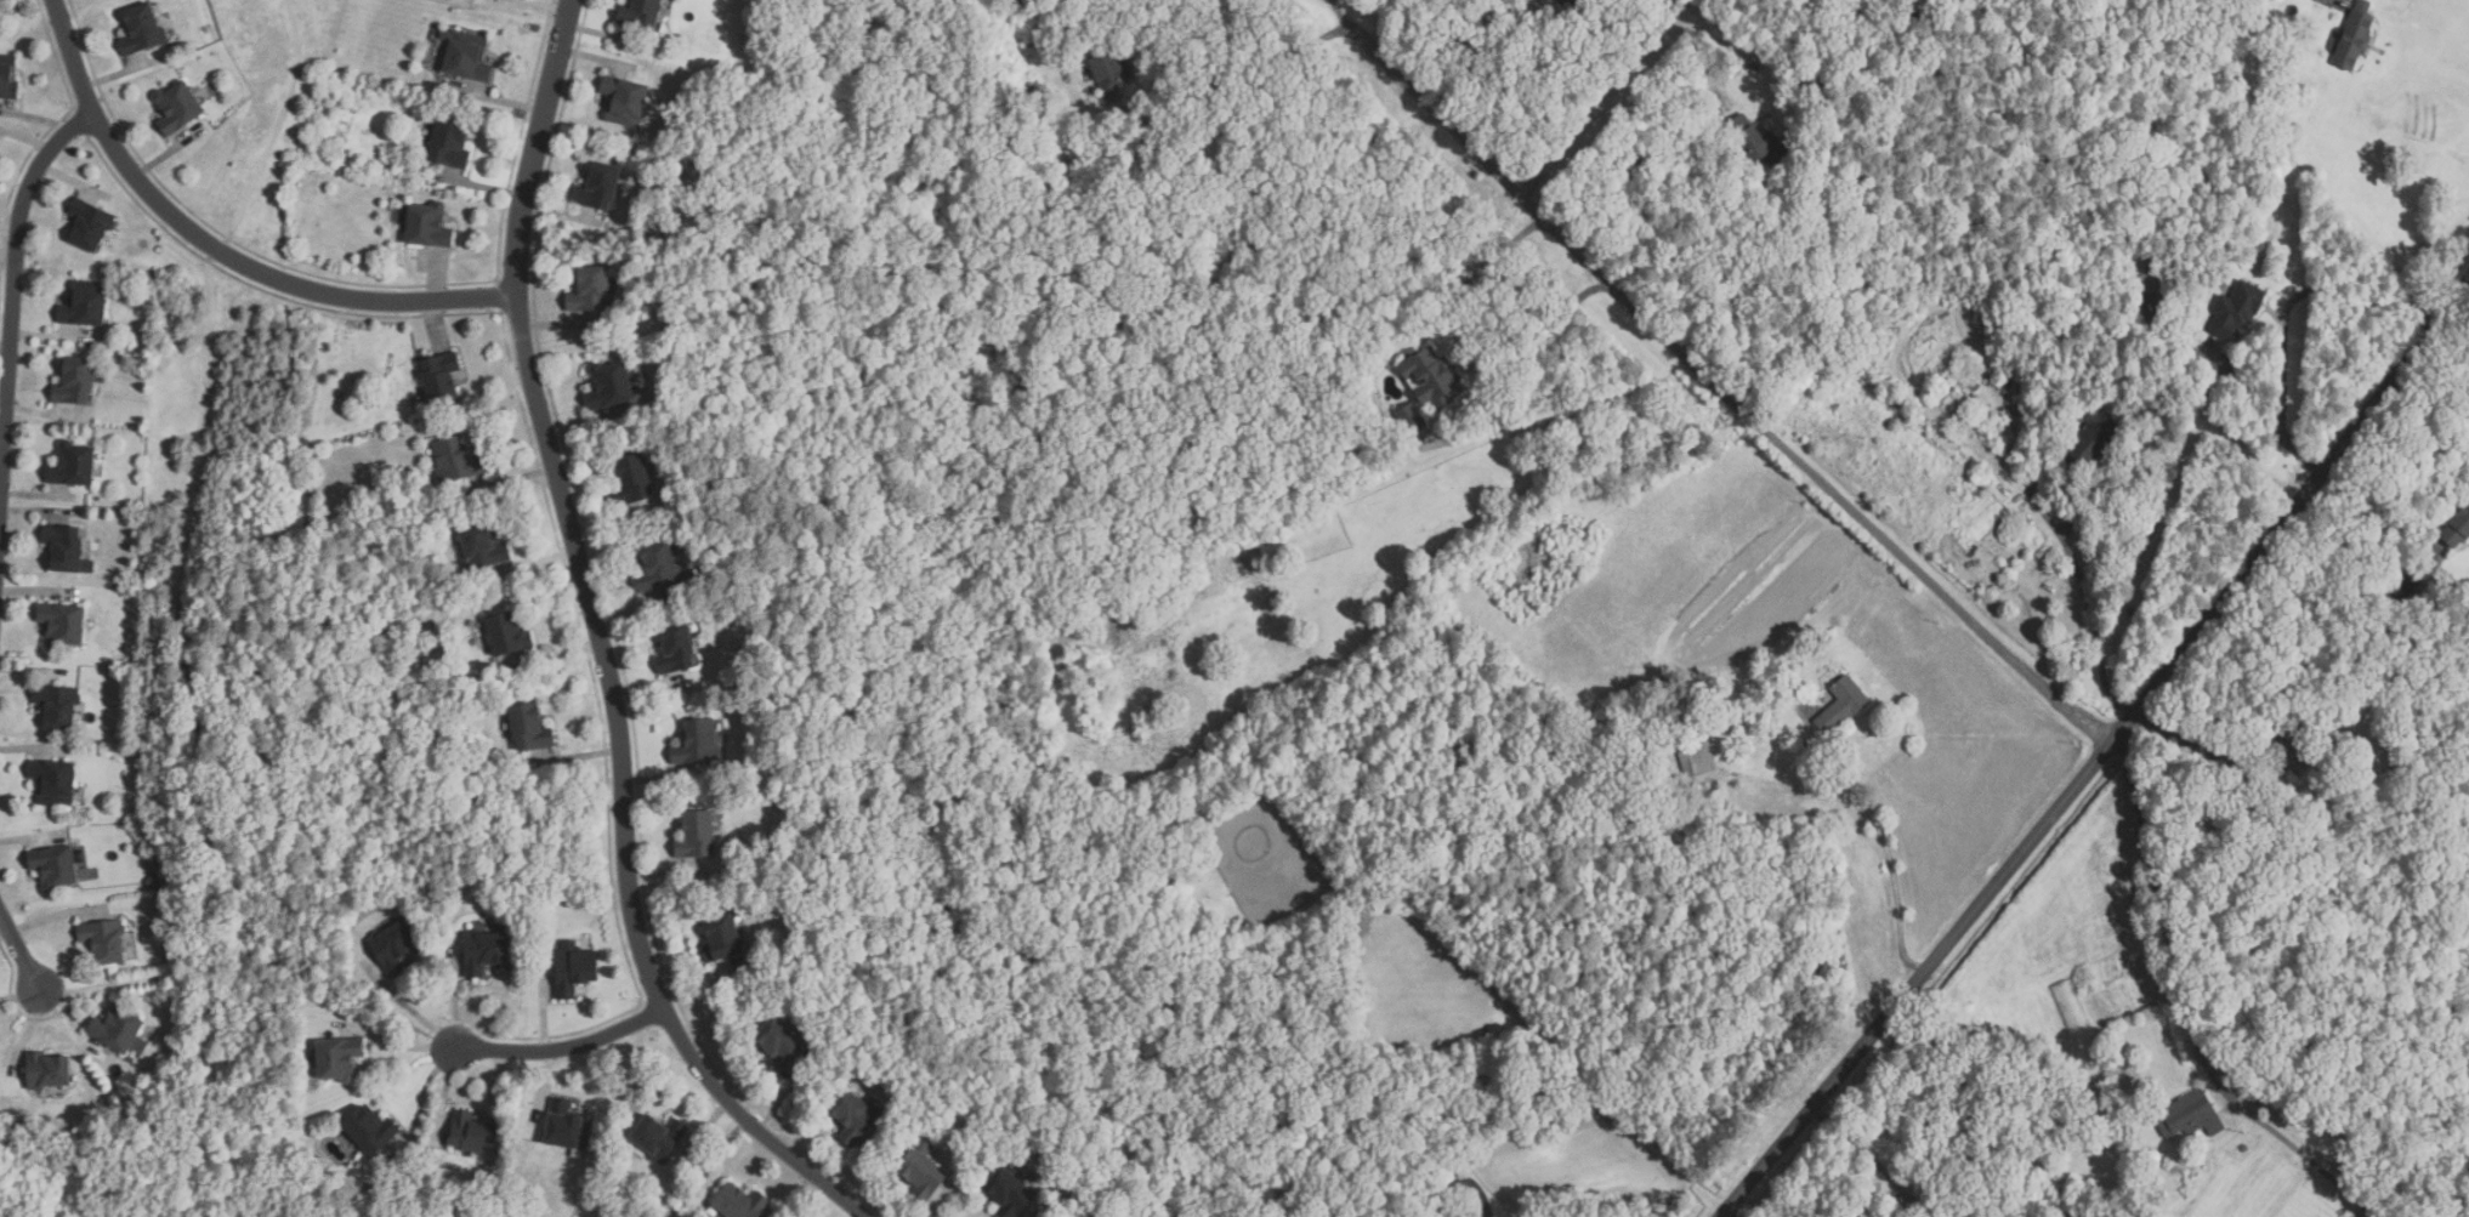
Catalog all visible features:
building: (0, 0)
road: (1336, 10)
building: (641, 13)
building: (142, 29)
building: (2350, 38)
road: (1444, 42)
building: (469, 57)
building: (1752, 61)
road: (1241, 63)
building: (1755, 68)
building: (1112, 70)
building: (7, 76)
building: (625, 99)
road: (1597, 101)
building: (178, 107)
building: (1756, 142)
building: (450, 143)
road: (1644, 157)
building: (601, 187)
building: (89, 224)
building: (430, 226)
road: (221, 250)
building: (589, 298)
building: (85, 305)
building: (2147, 308)
building: (2234, 311)
road: (16, 313)
road: (2286, 313)
road: (1452, 331)
road: (1543, 334)
building: (441, 377)
building: (75, 382)
building: (611, 383)
building: (1976, 385)
building: (1432, 386)
road: (1720, 388)
building: (1901, 403)
building: (2005, 430)
building: (2098, 436)
building: (456, 460)
building: (74, 464)
building: (631, 479)
road: (2394, 490)
road: (2369, 525)
building: (2456, 525)
building: (1277, 546)
building: (66, 547)
building: (482, 547)
road: (2068, 548)
building: (659, 568)
building: (2399, 588)
building: (63, 624)
building: (509, 635)
road: (603, 646)
building: (676, 649)
building: (1844, 704)
building: (57, 706)
building: (529, 729)
road: (2184, 741)
building: (698, 744)
building: (2281, 747)
road: (2101, 753)
building: (1741, 756)
building: (1699, 758)
building: (53, 781)
building: (2252, 803)
road: (1880, 834)
building: (698, 836)
building: (55, 868)
building: (1346, 922)
building: (721, 939)
building: (104, 942)
building: (393, 948)
road: (21, 952)
building: (484, 952)
building: (574, 968)
building: (2071, 1008)
road: (2184, 1012)
building: (120, 1030)
road: (1555, 1040)
building: (778, 1046)
road: (563, 1048)
building: (339, 1059)
building: (2219, 1068)
building: (49, 1071)
building: (2186, 1114)
building: (856, 1115)
building: (568, 1127)
building: (370, 1132)
building: (473, 1134)
building: (658, 1138)
road: (1875, 1164)
building: (924, 1168)
building: (1380, 1179)
road: (1459, 1181)
building: (1011, 1192)
building: (740, 1204)
building: (1642, 1207)
building: (2286, 1213)

